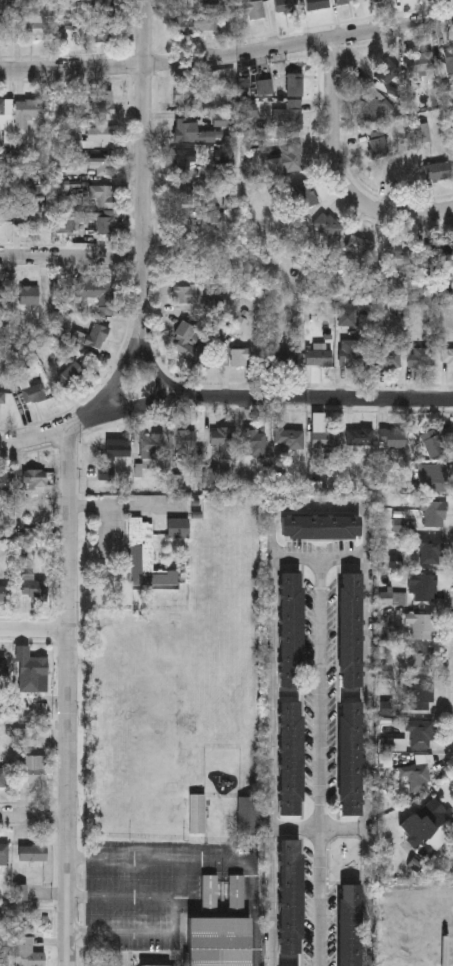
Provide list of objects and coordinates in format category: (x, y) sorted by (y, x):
building: (379, 0)
building: (344, 1)
building: (184, 3)
building: (317, 4)
building: (287, 6)
building: (105, 9)
building: (254, 10)
building: (197, 24)
building: (32, 26)
building: (7, 30)
building: (102, 32)
road: (228, 57)
building: (449, 57)
building: (421, 63)
building: (387, 73)
building: (295, 84)
building: (186, 96)
building: (105, 101)
building: (369, 110)
building: (25, 113)
building: (6, 114)
building: (289, 114)
building: (101, 131)
building: (191, 132)
building: (378, 144)
building: (288, 160)
building: (184, 161)
building: (101, 163)
road: (145, 164)
road: (343, 168)
building: (437, 172)
building: (102, 194)
building: (183, 195)
building: (305, 196)
building: (2, 214)
building: (31, 215)
building: (102, 224)
building: (327, 225)
building: (68, 228)
building: (183, 228)
building: (361, 246)
building: (438, 252)
building: (400, 258)
road: (73, 259)
building: (91, 290)
building: (187, 294)
building: (28, 295)
building: (4, 296)
building: (239, 327)
building: (96, 335)
building: (181, 340)
building: (353, 353)
building: (319, 356)
building: (242, 357)
building: (387, 357)
building: (422, 357)
building: (448, 357)
building: (285, 358)
road: (121, 370)
building: (76, 373)
road: (163, 374)
building: (33, 392)
road: (274, 398)
building: (2, 400)
road: (83, 419)
building: (360, 436)
building: (395, 437)
road: (35, 438)
building: (289, 438)
building: (222, 439)
building: (326, 439)
building: (254, 442)
building: (433, 442)
building: (187, 443)
building: (151, 444)
building: (118, 448)
building: (106, 472)
building: (434, 477)
building: (34, 478)
building: (6, 480)
road: (321, 509)
building: (434, 513)
building: (177, 527)
building: (321, 528)
building: (431, 550)
building: (145, 555)
road: (321, 557)
building: (423, 587)
building: (34, 589)
building: (4, 592)
building: (393, 597)
building: (421, 625)
building: (350, 627)
building: (291, 628)
road: (36, 630)
building: (420, 659)
building: (4, 666)
building: (30, 671)
road: (71, 696)
building: (420, 697)
building: (420, 733)
building: (290, 756)
building: (350, 756)
road: (322, 761)
building: (32, 769)
building: (416, 775)
building: (3, 776)
road: (35, 813)
building: (197, 813)
building: (249, 815)
building: (436, 821)
road: (320, 824)
building: (32, 851)
building: (3, 853)
road: (211, 861)
parking lot: (136, 875)
road: (178, 880)
building: (209, 892)
building: (236, 892)
building: (290, 895)
road: (179, 916)
building: (349, 924)
building: (218, 941)
building: (29, 953)
building: (2, 954)
building: (157, 965)

